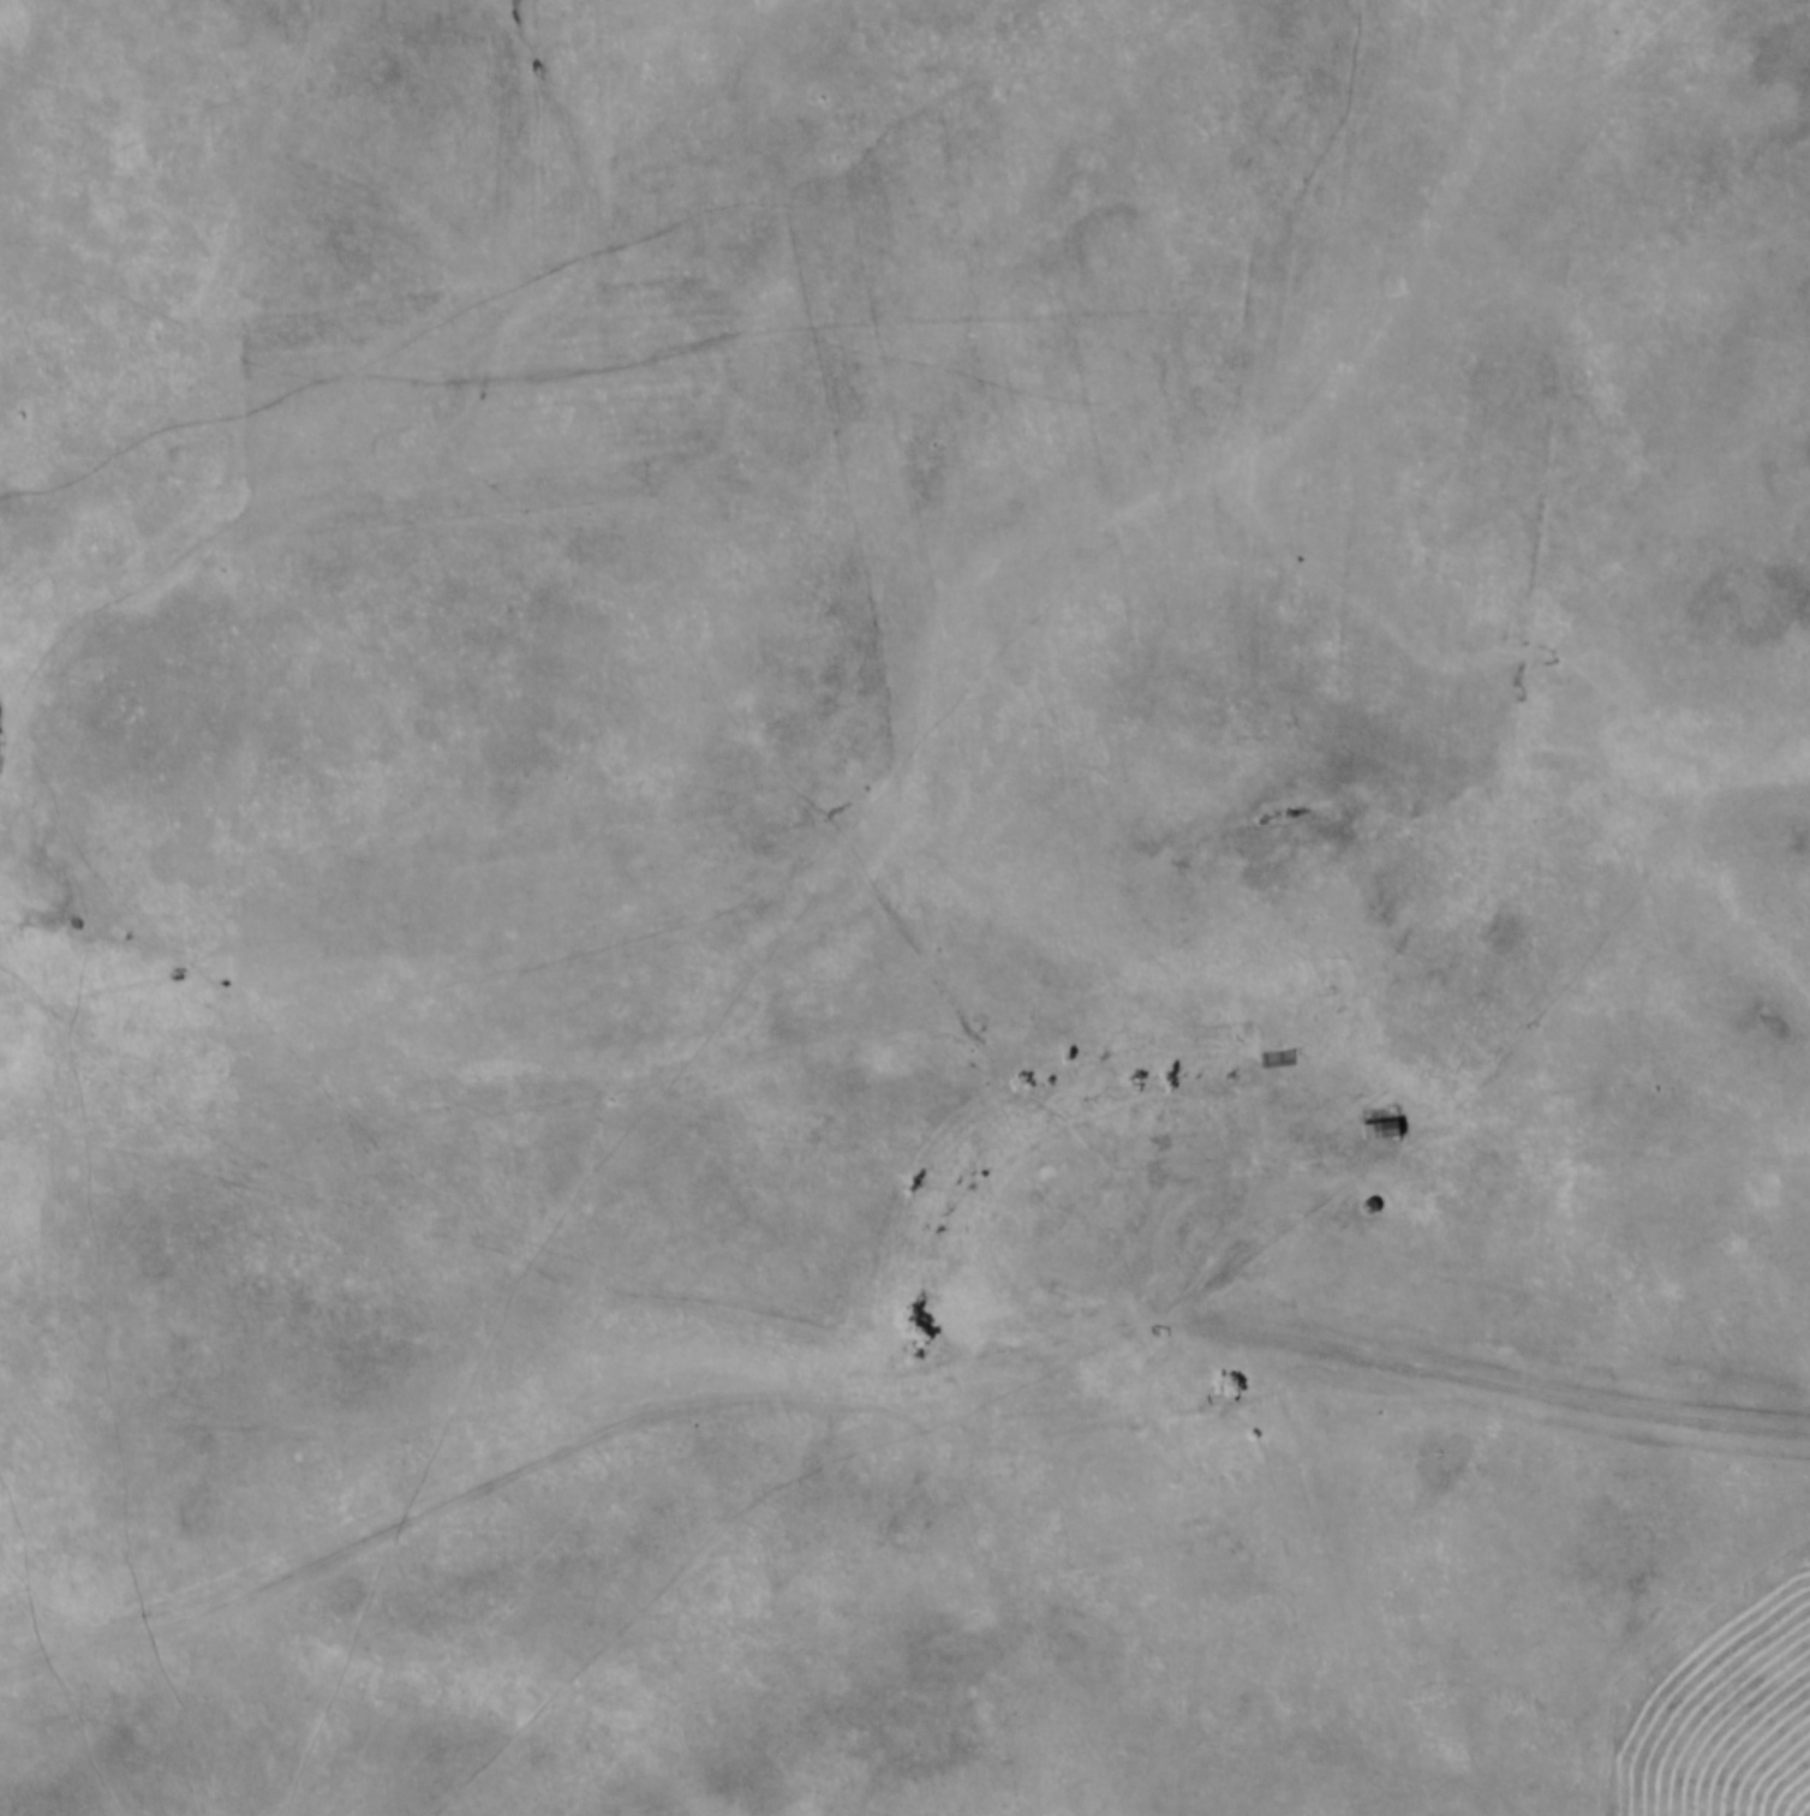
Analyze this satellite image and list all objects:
building: (1375, 1122)
road: (1558, 1388)

